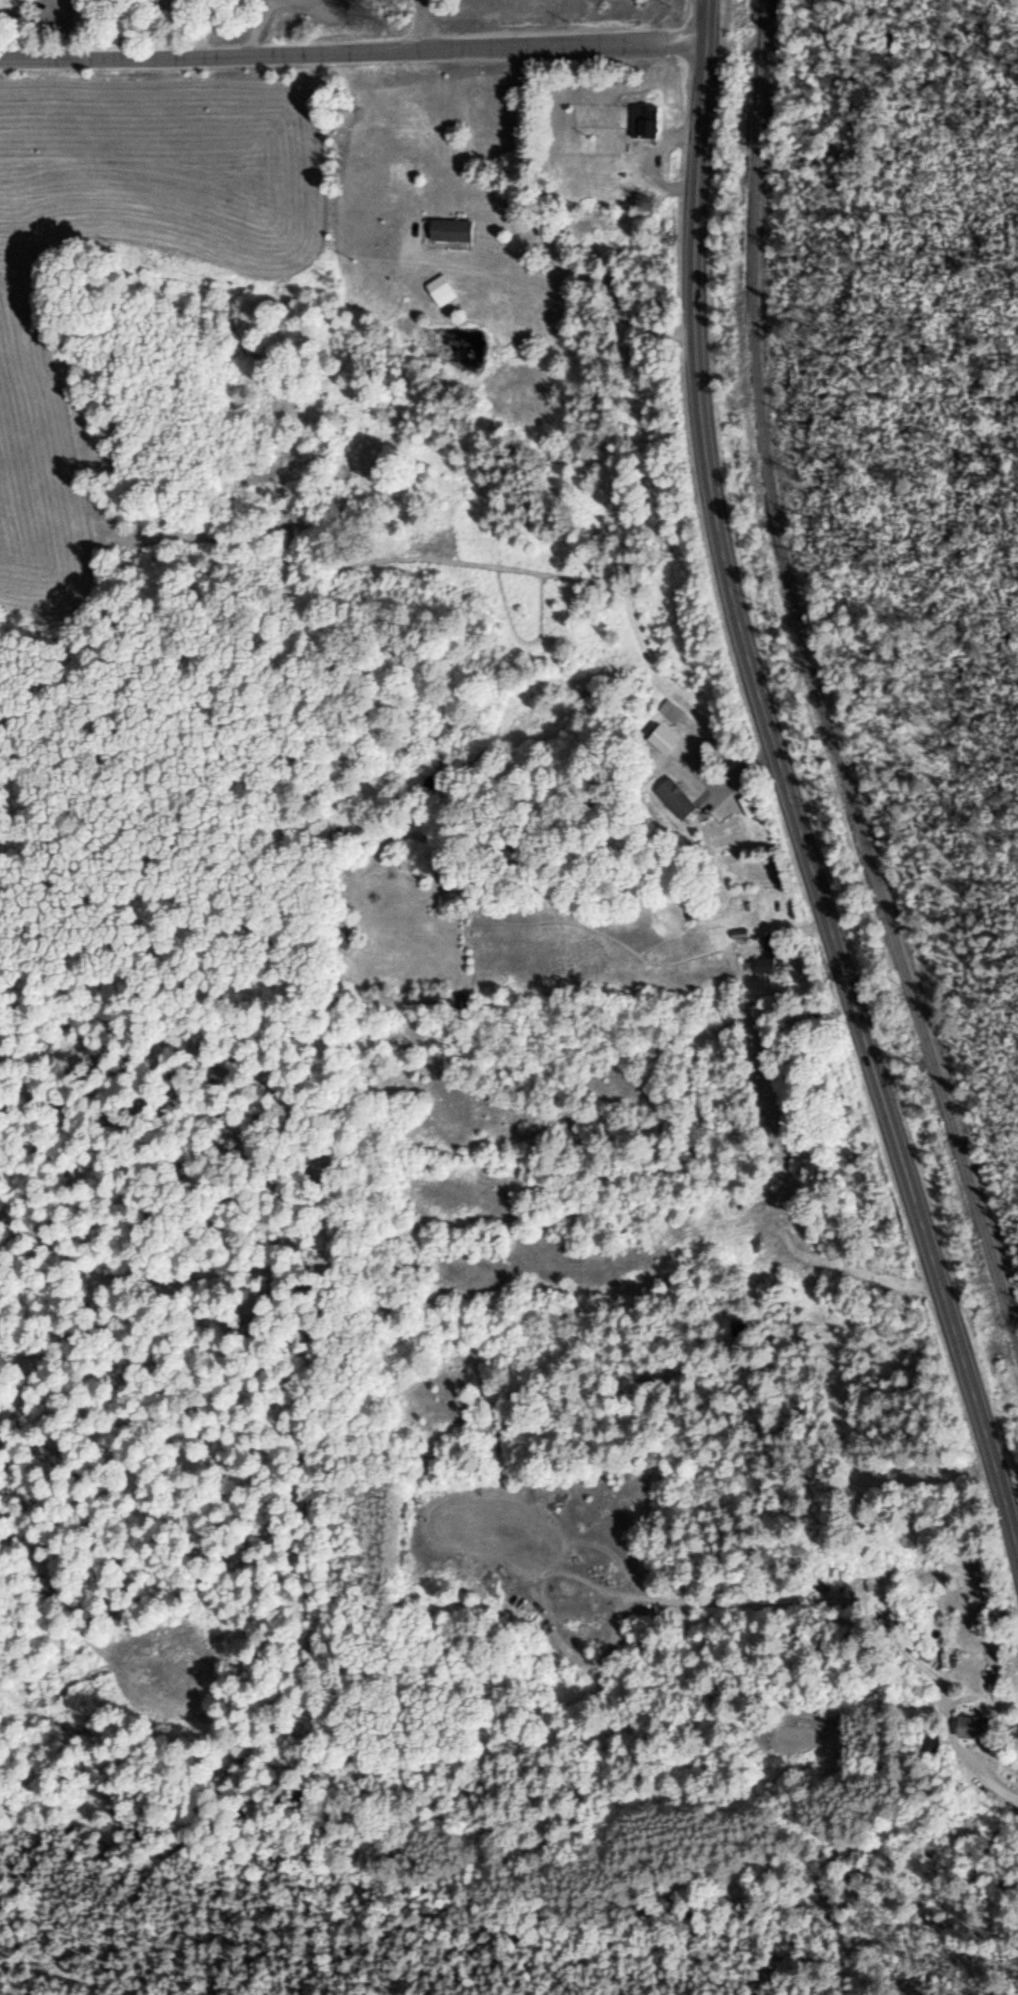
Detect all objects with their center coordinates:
road: (354, 48)
building: (642, 118)
building: (606, 137)
building: (449, 227)
building: (437, 285)
railway: (818, 681)
building: (669, 709)
building: (658, 735)
road: (786, 782)
building: (673, 797)
building: (767, 953)
building: (893, 1611)
building: (969, 1724)

